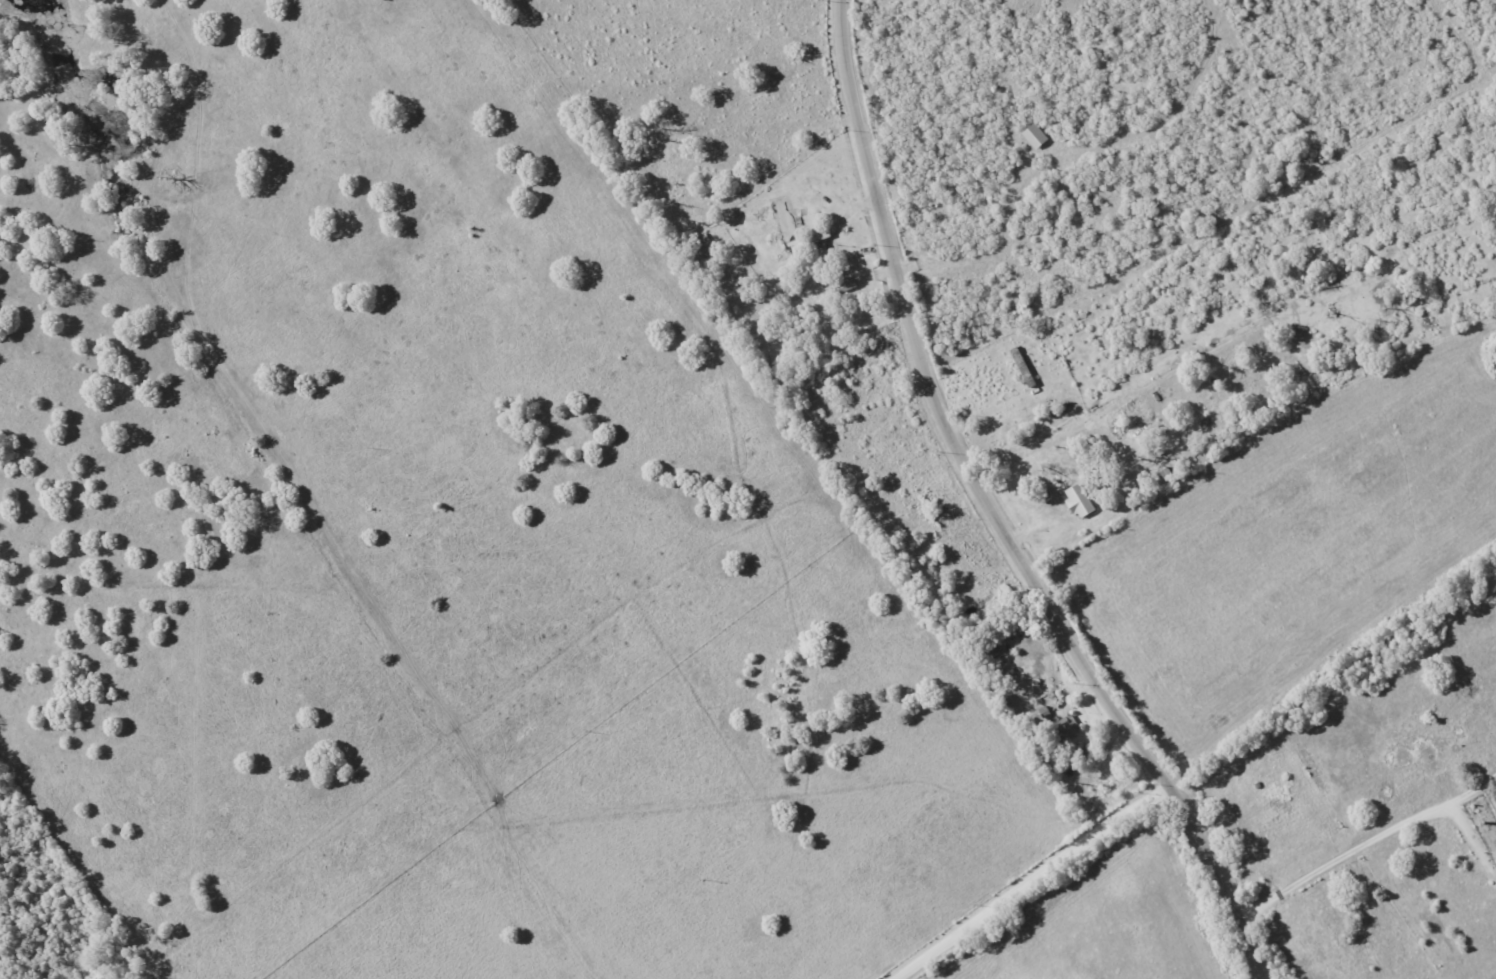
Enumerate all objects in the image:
road: (1072, 434)
building: (1079, 501)
road: (998, 513)
building: (1067, 728)
road: (1346, 858)
road: (1040, 882)

